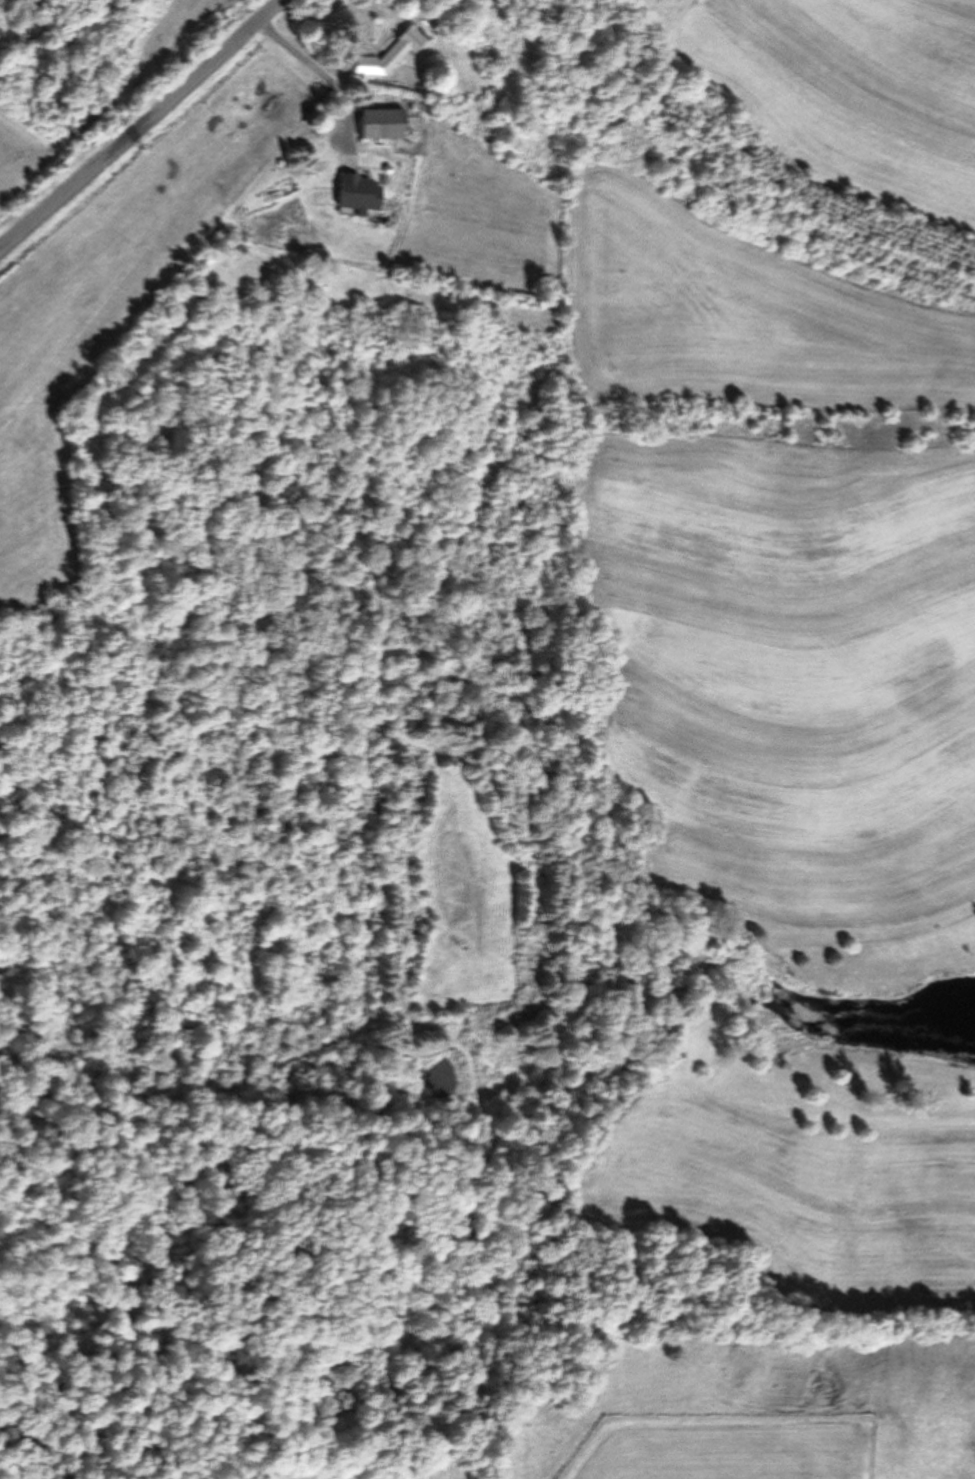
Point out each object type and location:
building: (392, 52)
building: (382, 124)
road: (140, 125)
building: (359, 192)

